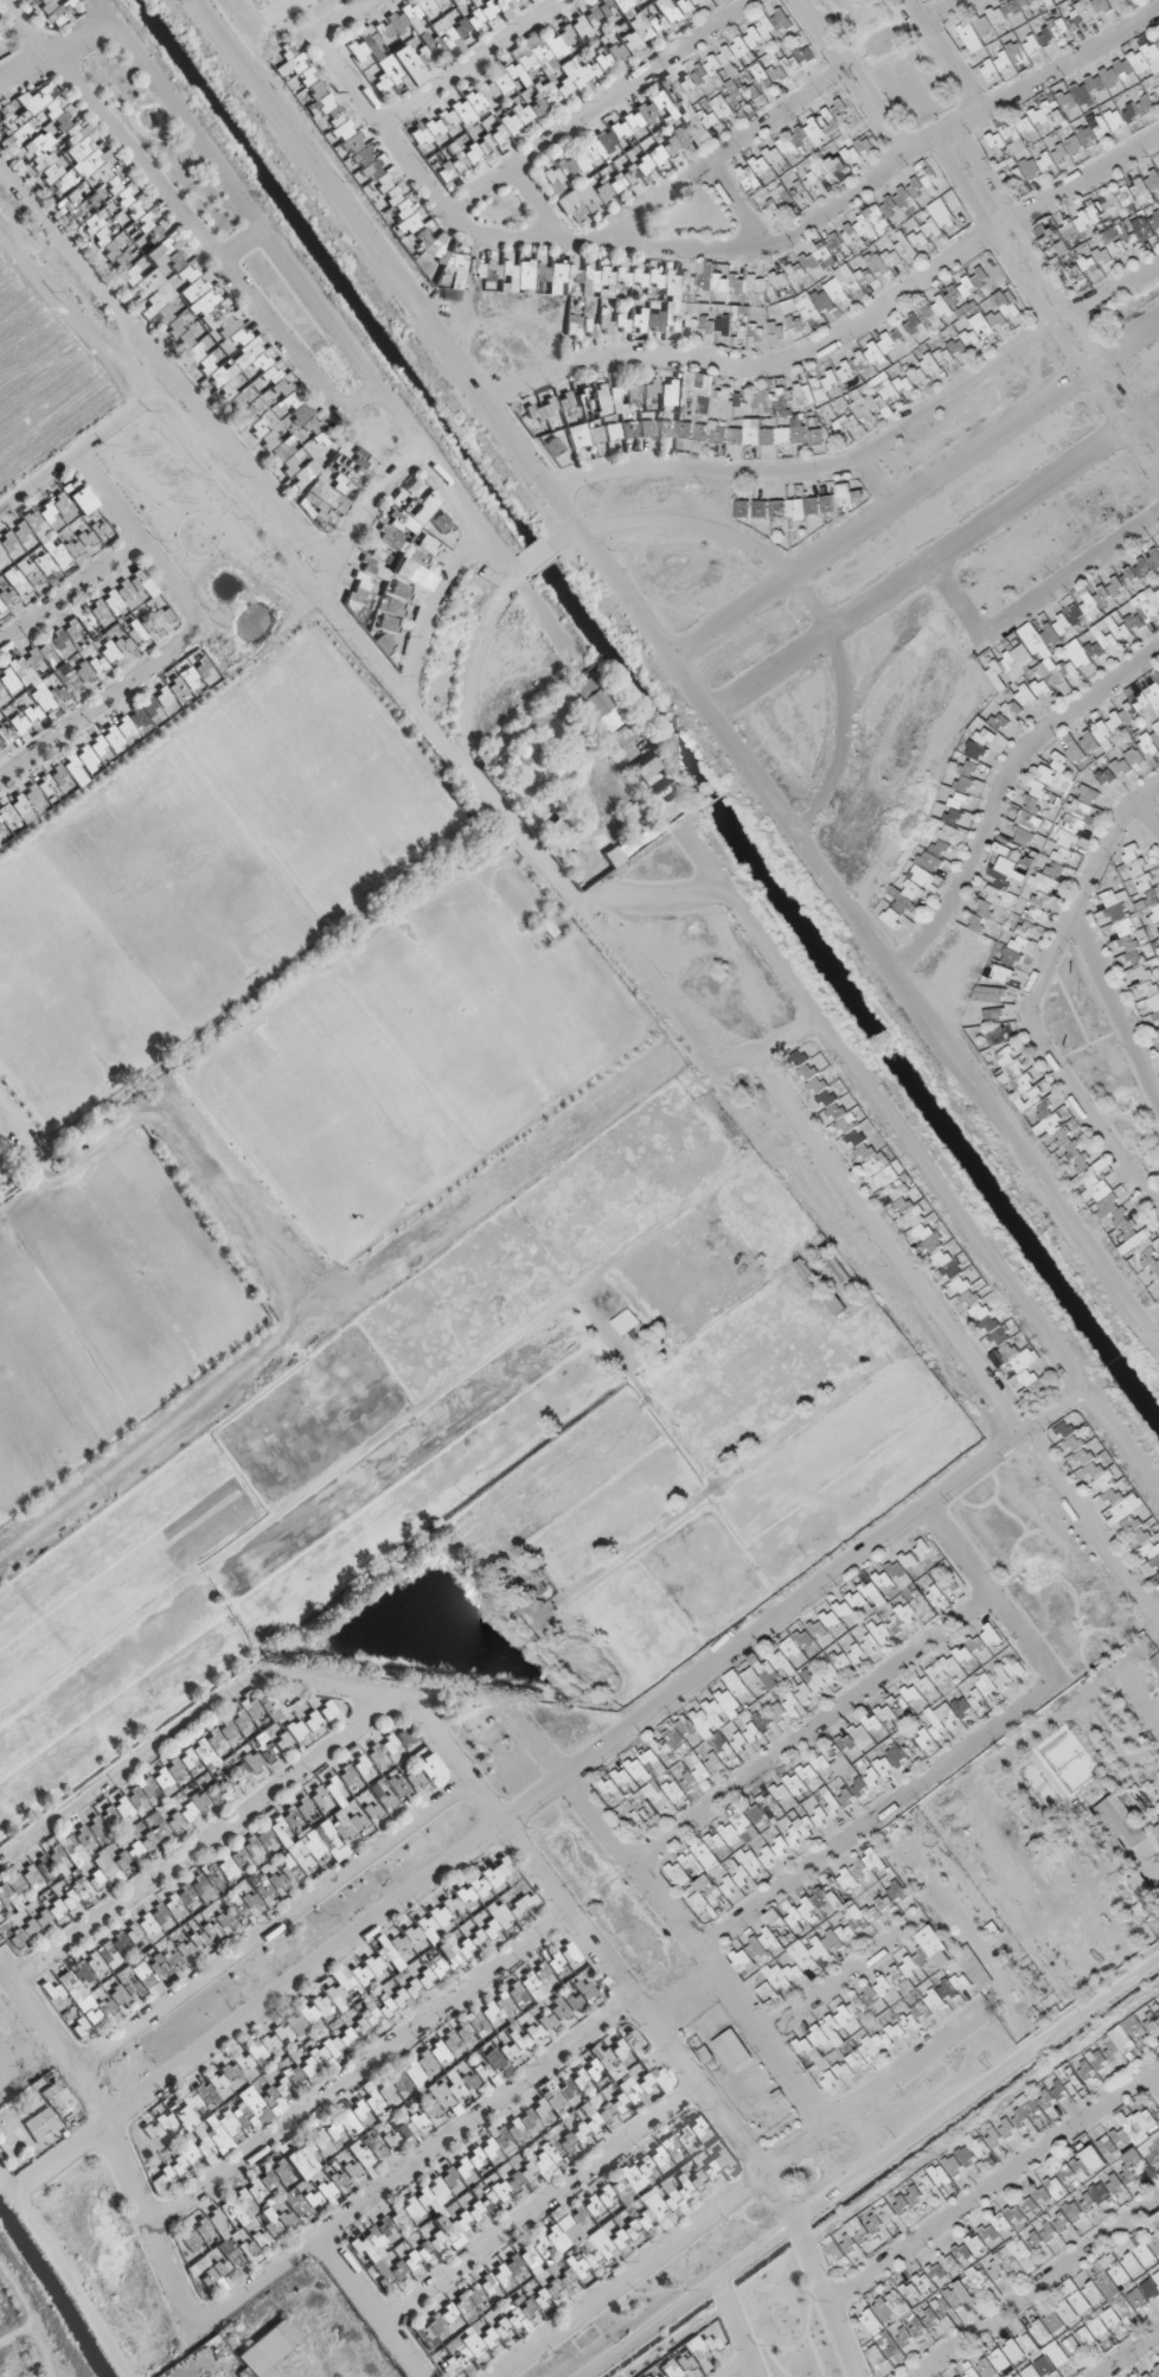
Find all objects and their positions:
road: (935, 9)
road: (342, 18)
building: (971, 40)
road: (942, 56)
road: (475, 63)
building: (1119, 76)
road: (851, 79)
road: (602, 107)
building: (1049, 117)
building: (1095, 140)
road: (724, 154)
building: (1012, 155)
building: (1013, 175)
road: (840, 206)
road: (738, 209)
building: (1108, 213)
building: (943, 219)
building: (862, 235)
road: (1054, 288)
building: (948, 315)
road: (1044, 315)
road: (840, 337)
crop: (40, 372)
road: (873, 449)
road: (879, 483)
road: (915, 494)
road: (934, 563)
road: (1067, 579)
road: (952, 595)
building: (1118, 631)
building: (1016, 666)
park: (321, 777)
road: (1000, 790)
road: (1147, 823)
park: (183, 881)
road: (1087, 887)
park: (65, 995)
park: (481, 1011)
building: (1010, 1059)
park: (264, 1067)
road: (1084, 1110)
park: (333, 1117)
park: (141, 1274)
park: (44, 1385)
park: (0, 1522)
building: (1152, 2250)

